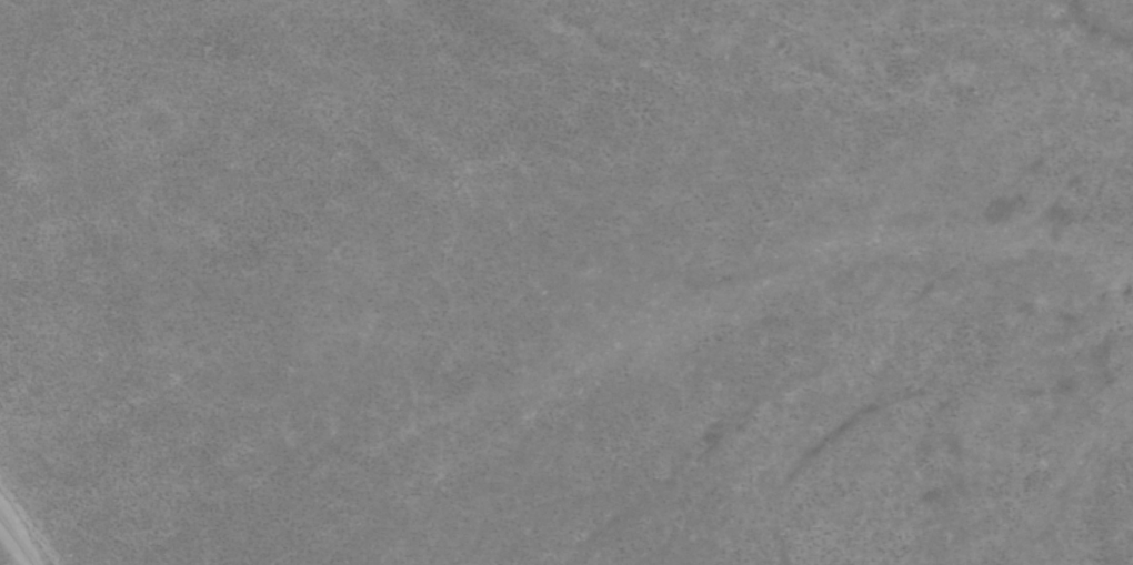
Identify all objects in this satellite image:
road: (17, 542)

